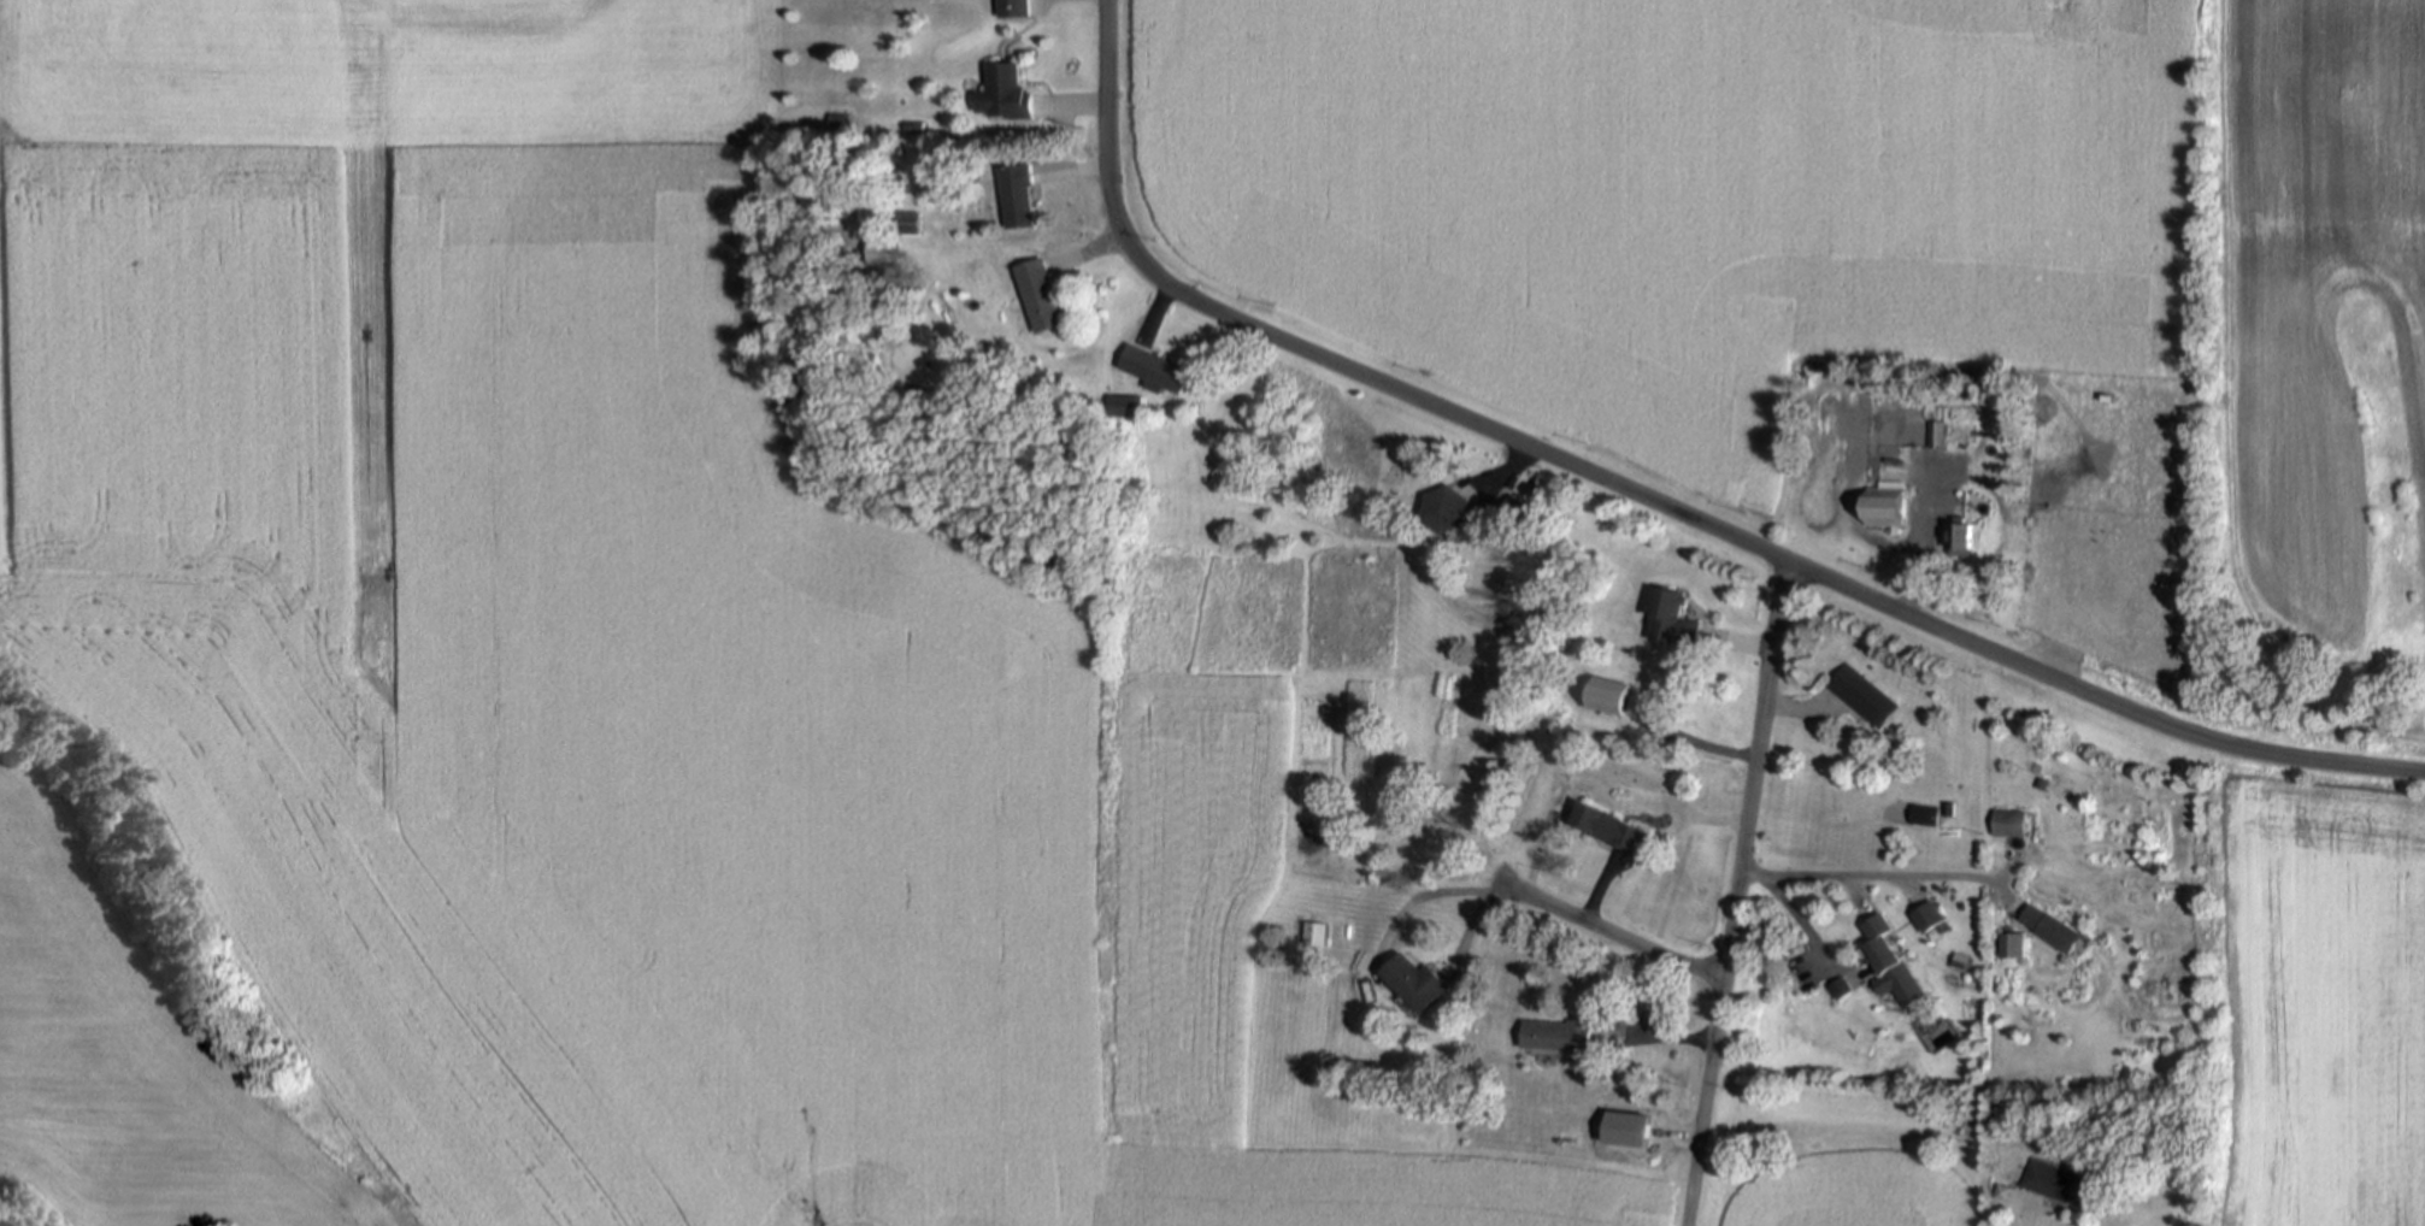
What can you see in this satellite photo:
building: (1013, 8)
building: (1006, 92)
building: (841, 122)
building: (914, 125)
building: (1018, 193)
building: (911, 223)
building: (882, 252)
building: (1042, 295)
building: (1158, 369)
building: (1120, 406)
road: (4, 418)
building: (1936, 435)
road: (1647, 500)
building: (1884, 507)
building: (1449, 509)
building: (1518, 512)
road: (1924, 535)
building: (1962, 536)
building: (1674, 619)
building: (1865, 697)
building: (1925, 814)
building: (2011, 823)
building: (1611, 826)
road: (1867, 877)
road: (1736, 894)
building: (1931, 918)
road: (1609, 929)
building: (2054, 930)
building: (1315, 933)
building: (2013, 947)
building: (1891, 960)
building: (1961, 962)
building: (1420, 984)
building: (1562, 1036)
building: (2058, 1184)
road: (2030, 1213)

